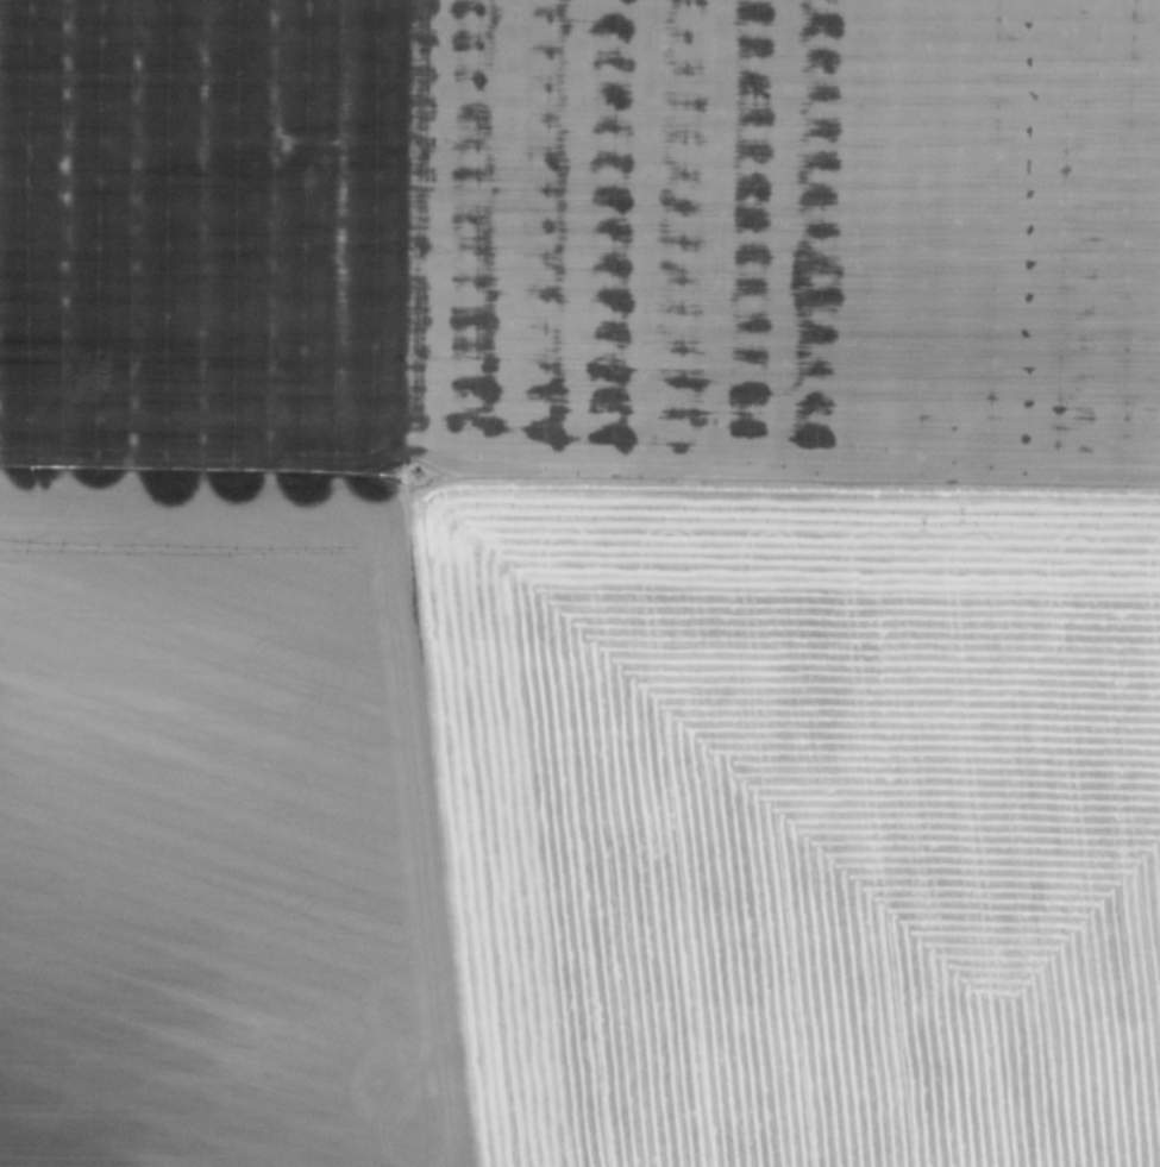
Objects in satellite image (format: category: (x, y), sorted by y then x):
crop: (579, 583)

